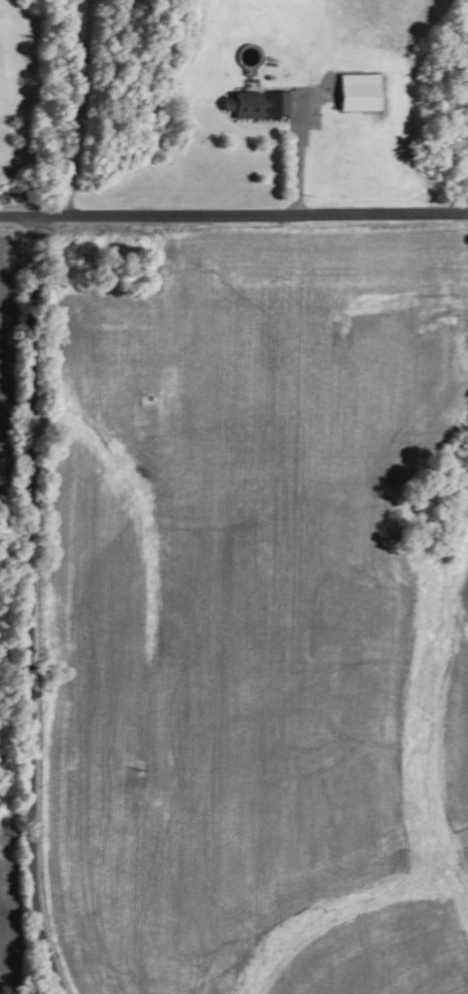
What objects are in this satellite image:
building: (358, 92)
building: (256, 104)
road: (233, 215)
road: (33, 607)

